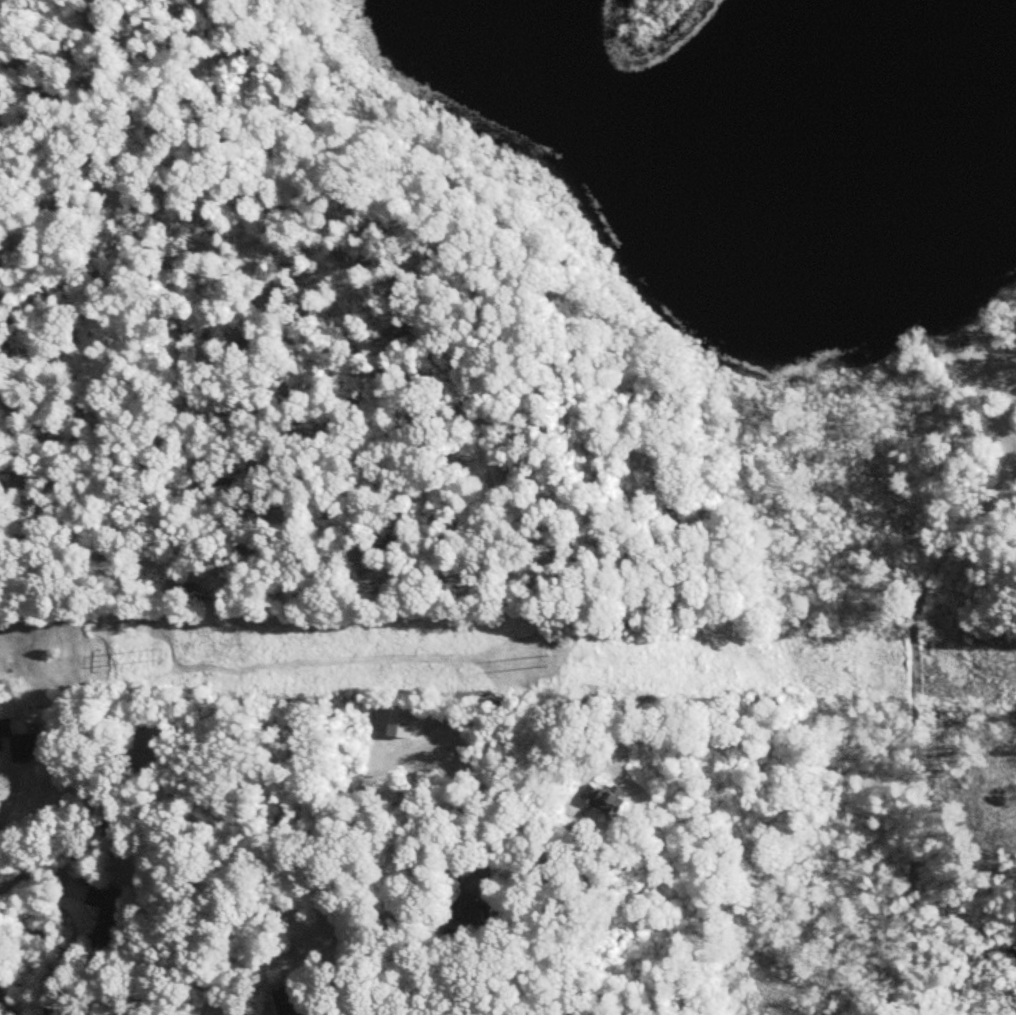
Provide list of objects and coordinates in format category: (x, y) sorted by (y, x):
power tower: (159, 649)
power tower: (558, 663)
building: (27, 742)
building: (431, 754)
building: (430, 765)
road: (14, 782)
building: (605, 799)
road: (38, 873)
building: (470, 911)
building: (104, 917)
road: (585, 929)
road: (455, 979)
building: (292, 1000)
road: (6, 1005)

